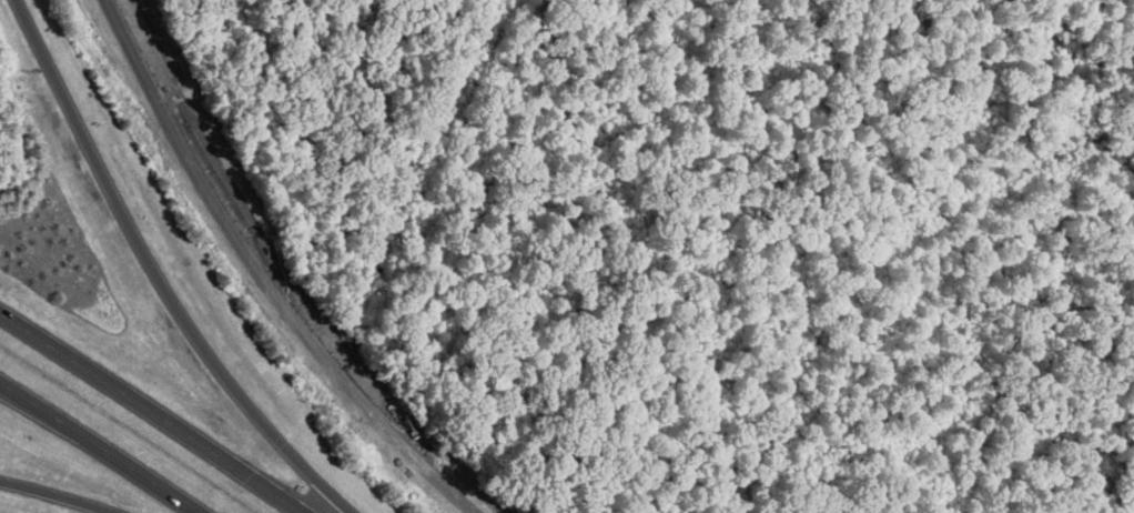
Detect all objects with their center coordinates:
road: (156, 272)
road: (254, 275)
road: (146, 422)
road: (90, 453)
road: (52, 495)

